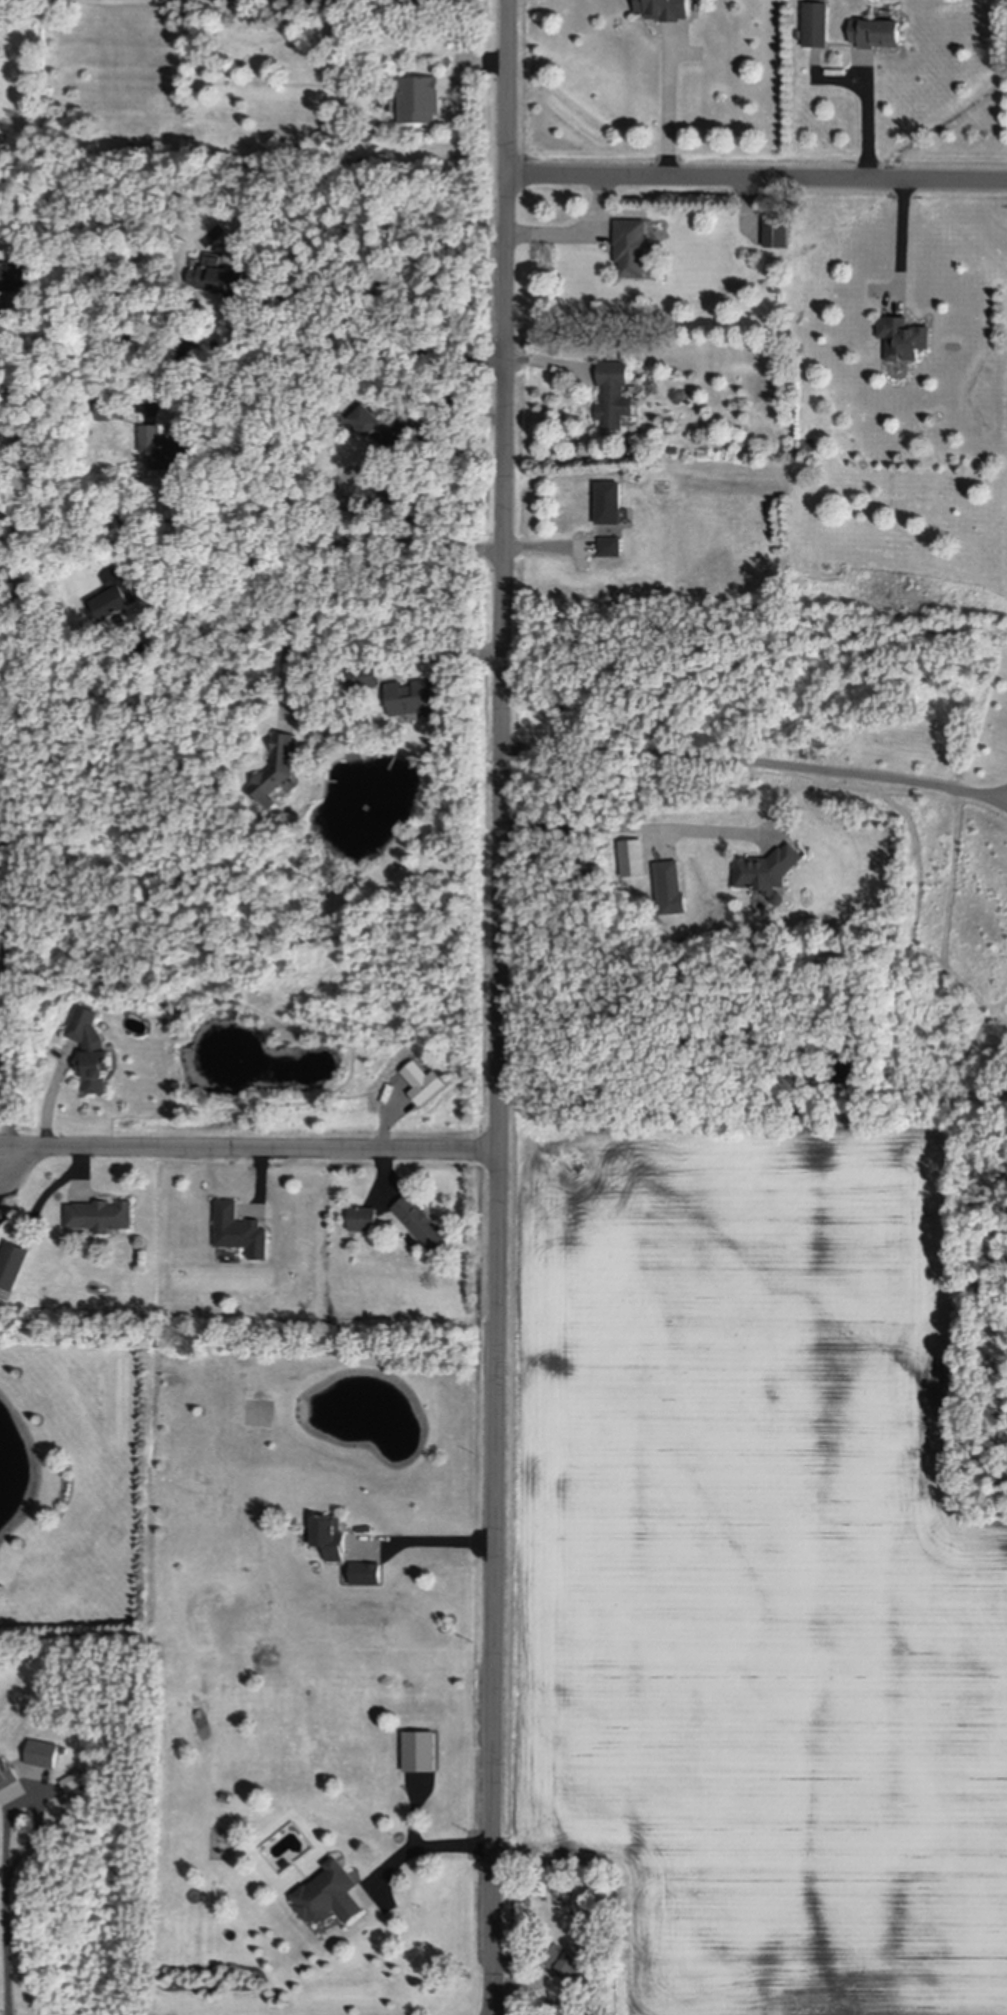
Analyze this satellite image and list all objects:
building: (664, 11)
building: (816, 27)
building: (875, 37)
building: (469, 44)
building: (418, 102)
road: (670, 108)
road: (866, 126)
building: (365, 134)
building: (132, 149)
building: (361, 164)
road: (759, 180)
road: (577, 234)
building: (776, 235)
road: (902, 246)
building: (631, 250)
building: (15, 281)
building: (223, 286)
building: (904, 342)
road: (187, 346)
road: (20, 359)
building: (615, 398)
building: (110, 412)
building: (381, 436)
building: (164, 452)
building: (674, 452)
building: (420, 468)
building: (609, 508)
road: (14, 538)
road: (331, 547)
road: (565, 547)
building: (611, 550)
building: (112, 591)
road: (450, 654)
building: (364, 670)
building: (413, 693)
road: (758, 757)
building: (277, 762)
road: (1001, 792)
building: (2, 815)
road: (633, 823)
building: (634, 852)
building: (769, 864)
building: (670, 883)
road: (14, 936)
building: (179, 1007)
road: (502, 1007)
building: (93, 1043)
road: (56, 1095)
road: (13, 1104)
road: (250, 1150)
road: (1, 1179)
building: (101, 1211)
building: (364, 1214)
building: (421, 1220)
building: (237, 1222)
building: (13, 1259)
building: (330, 1531)
road: (432, 1531)
building: (366, 1569)
building: (421, 1747)
building: (43, 1750)
building: (7, 1770)
building: (73, 1778)
building: (71, 1784)
road: (434, 1832)
building: (544, 1887)
building: (535, 1889)
building: (330, 1891)
road: (7, 1921)
building: (568, 1961)

